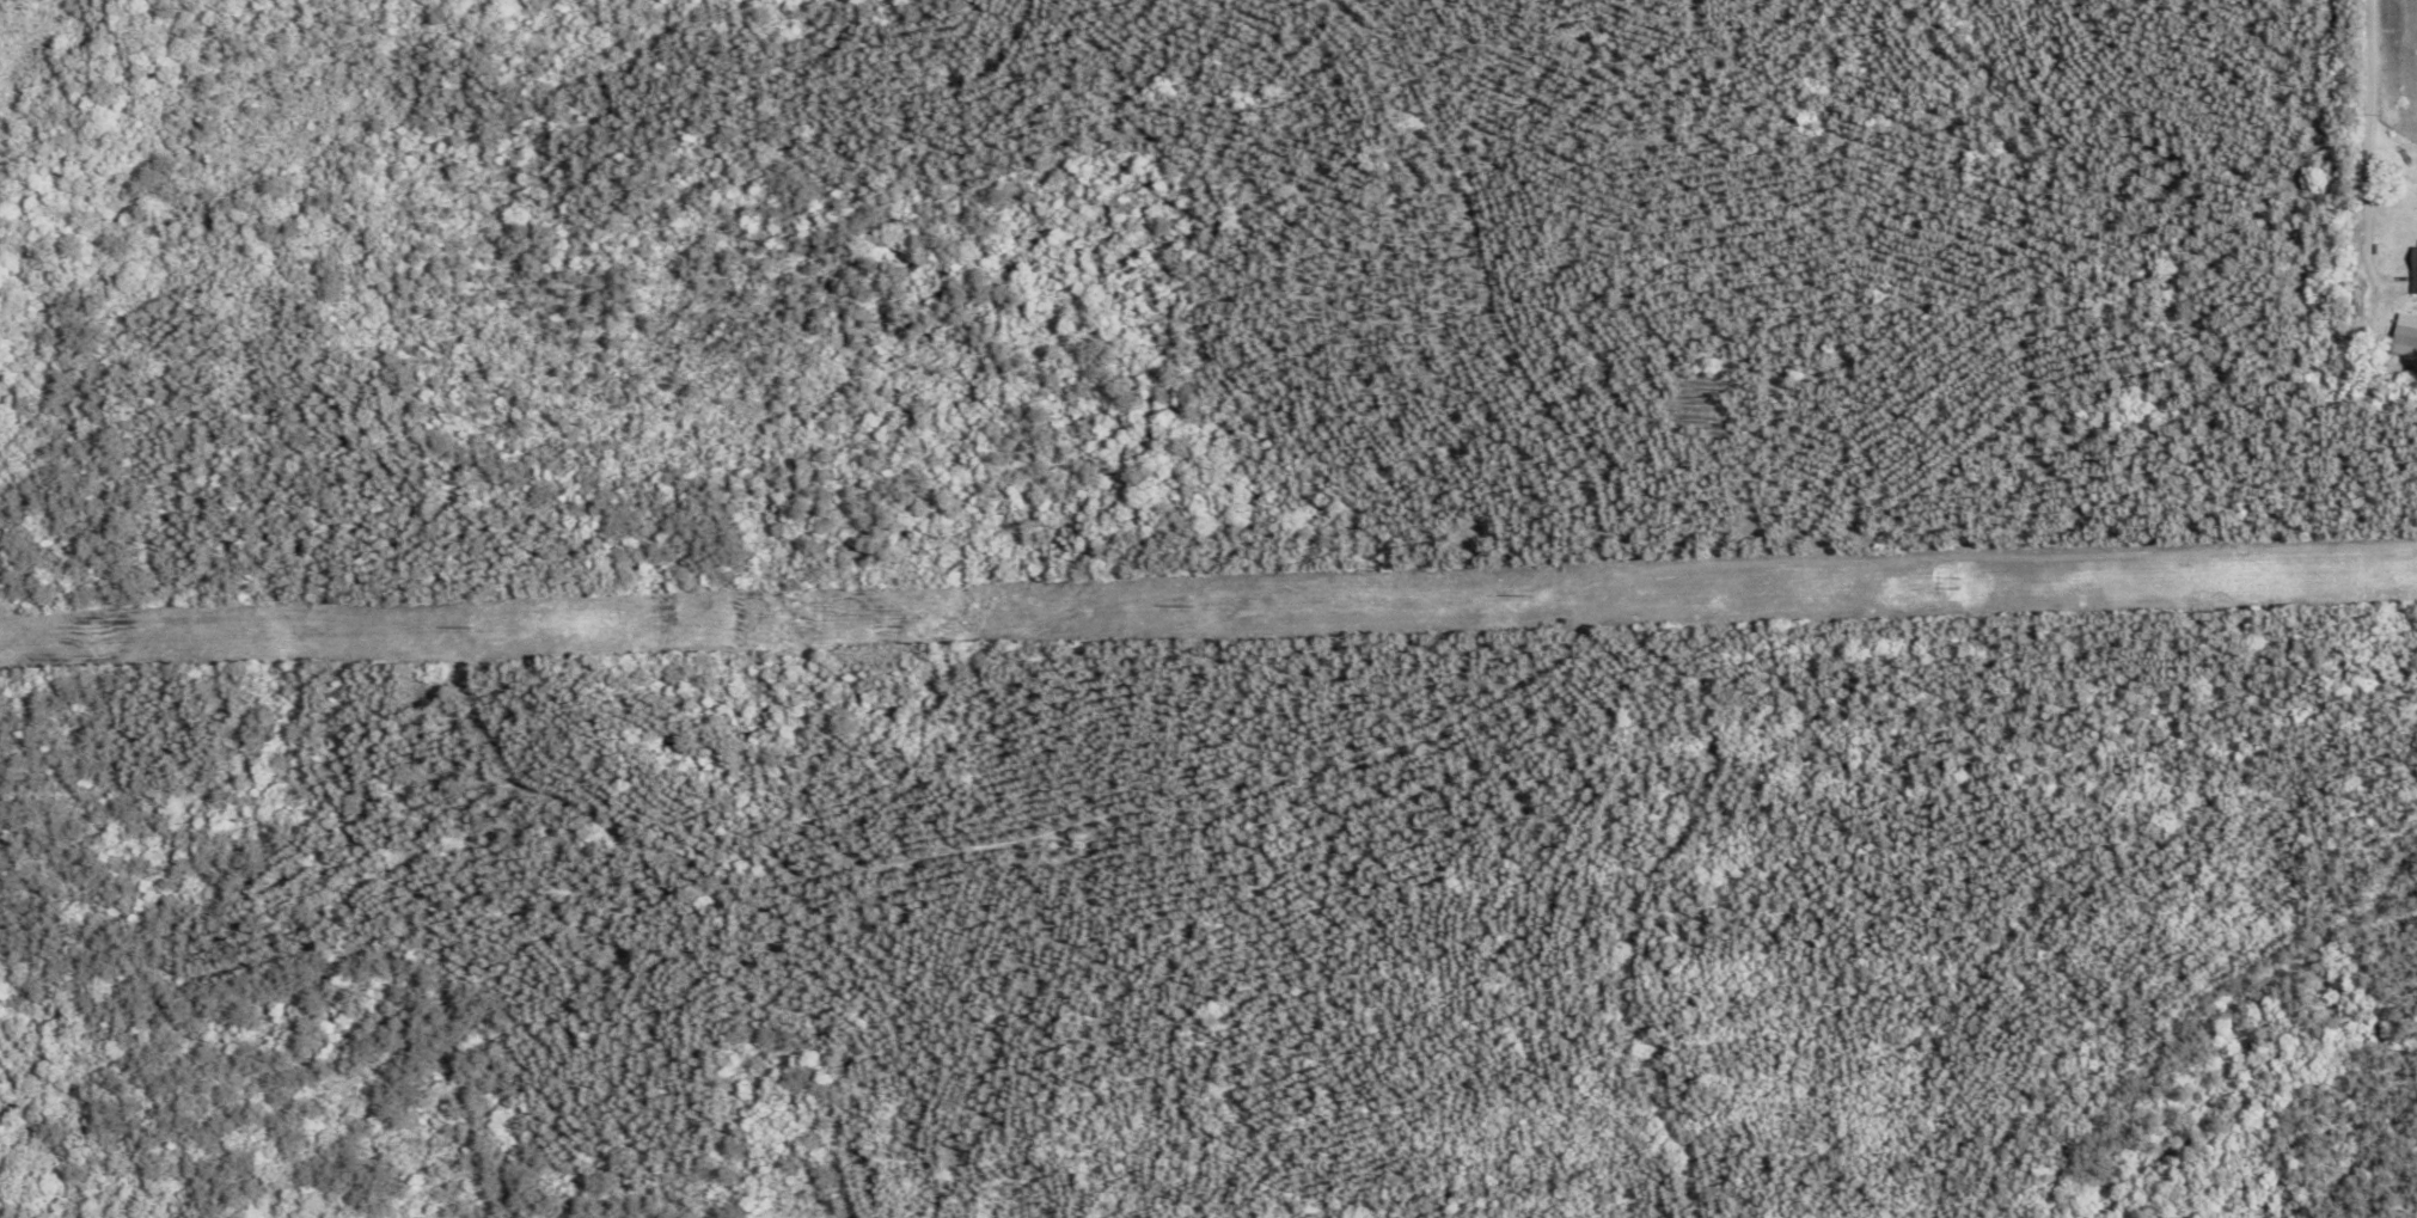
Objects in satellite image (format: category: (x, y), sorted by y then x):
road: (2364, 143)
building: (2412, 269)
building: (2404, 336)

